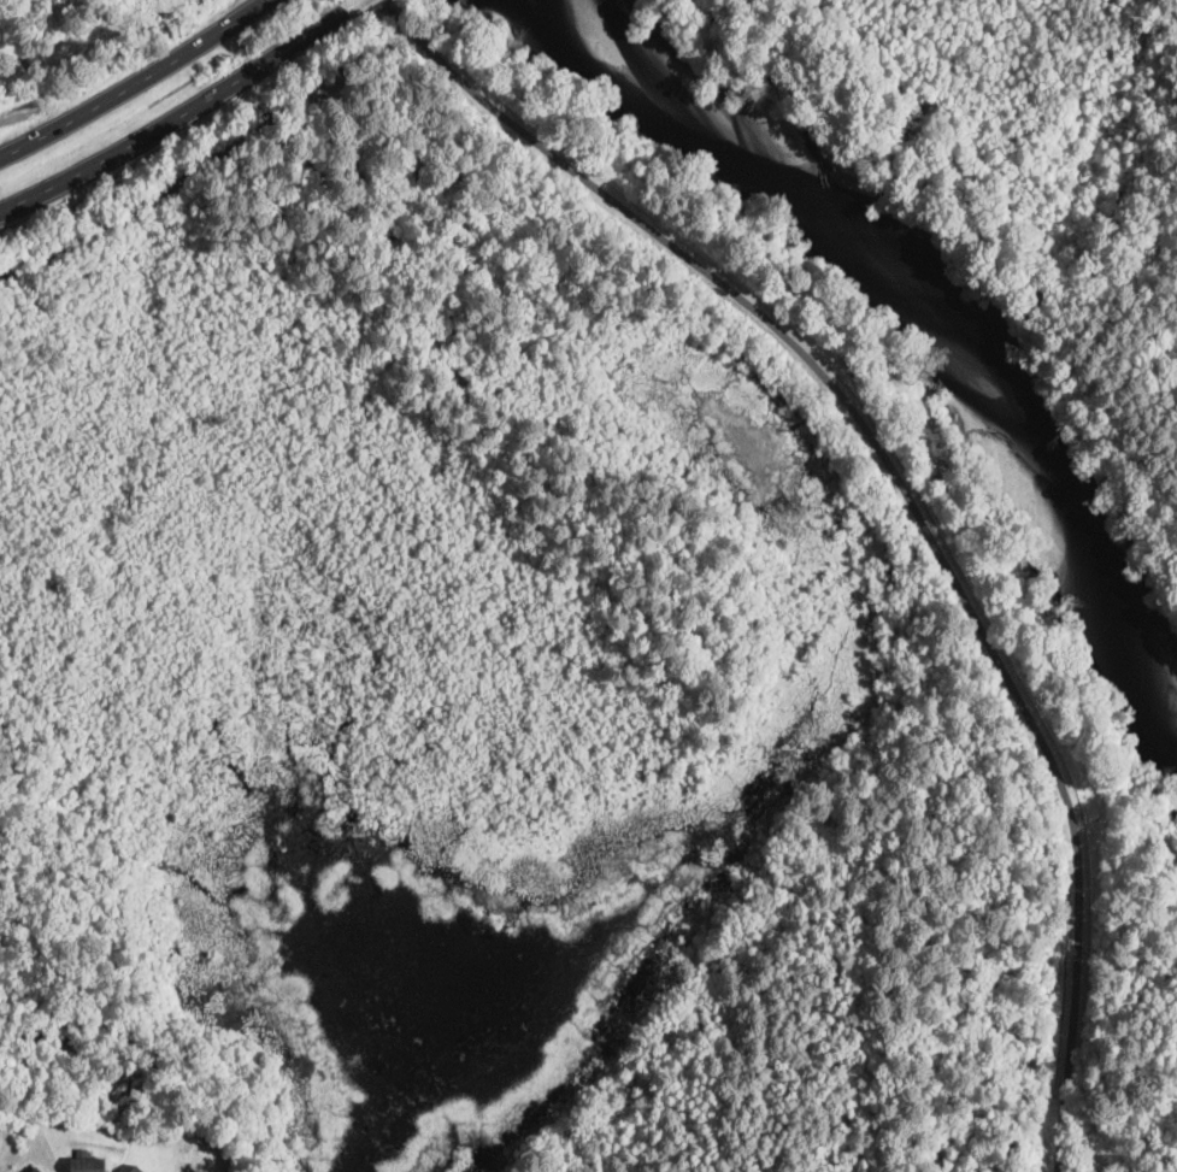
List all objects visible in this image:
road: (354, 5)
road: (136, 84)
road: (178, 119)
river: (901, 299)
road: (877, 454)
park: (543, 672)
road: (1058, 1131)
building: (88, 1165)
building: (136, 1168)
building: (37, 1170)

